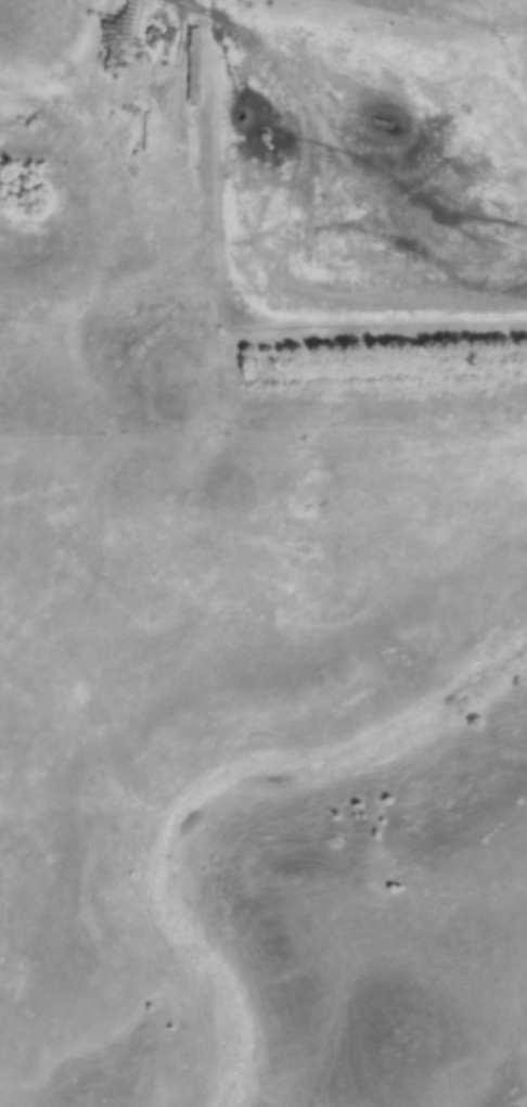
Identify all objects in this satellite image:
road: (325, 109)

